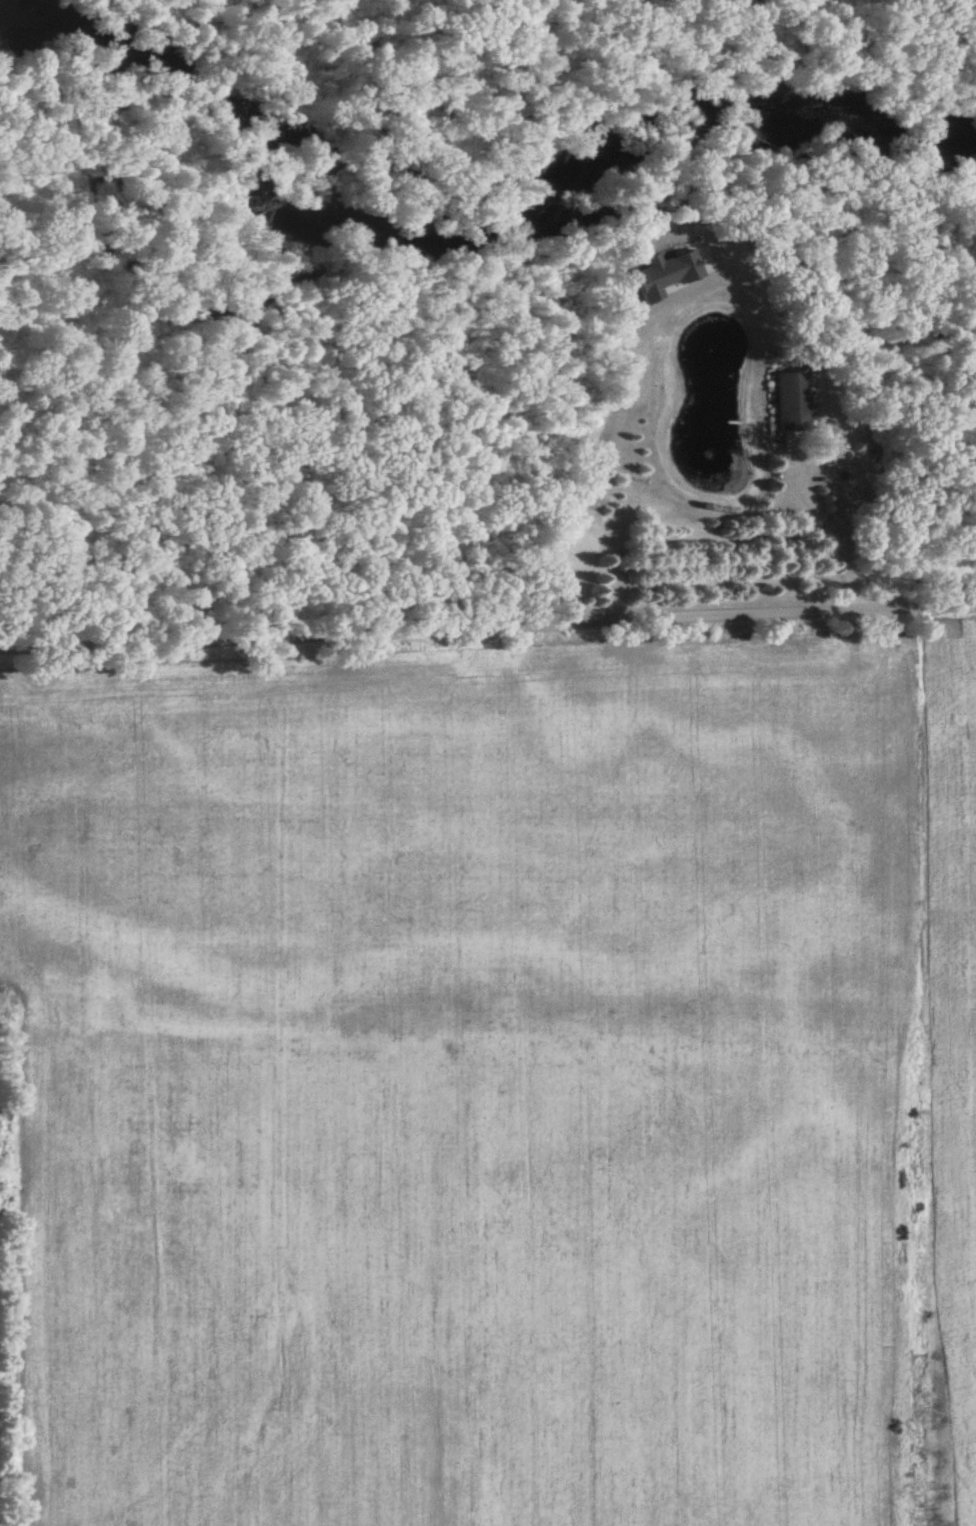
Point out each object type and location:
river: (466, 255)
building: (792, 404)
road: (487, 625)

